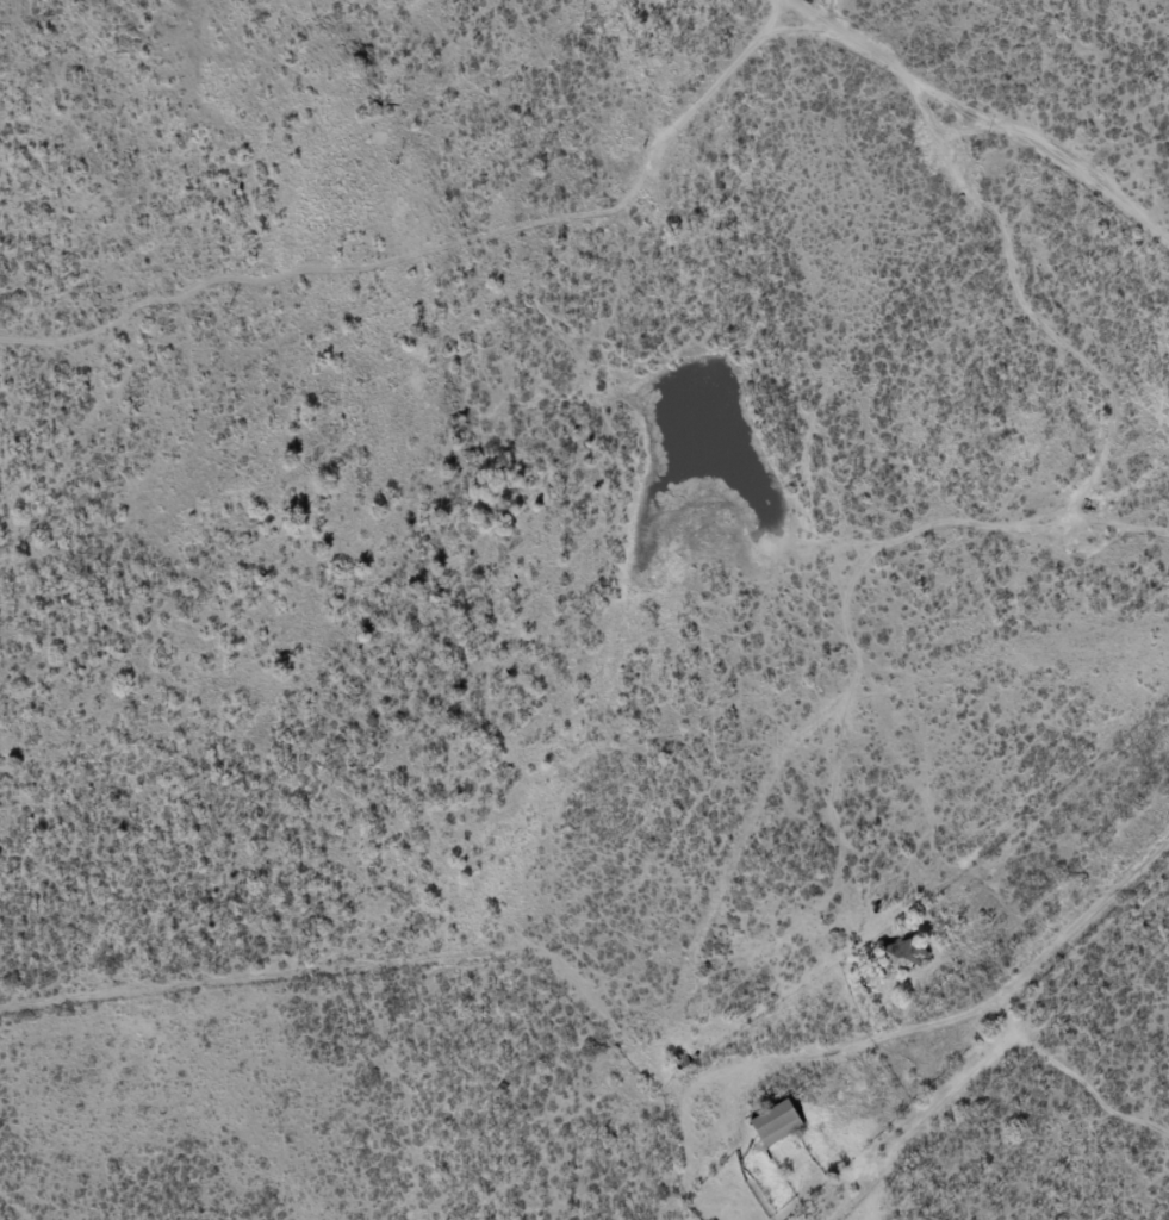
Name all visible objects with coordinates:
building: (902, 957)
building: (776, 1122)

